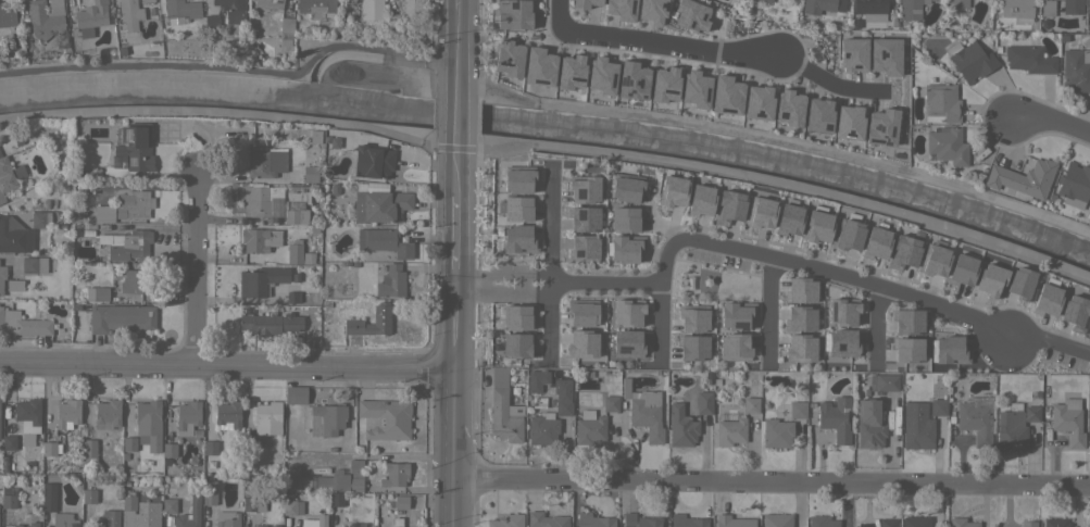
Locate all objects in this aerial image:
building: (147, 1)
building: (348, 1)
building: (767, 1)
building: (268, 3)
building: (582, 3)
building: (957, 3)
building: (817, 5)
building: (868, 5)
building: (1072, 7)
building: (315, 8)
building: (413, 8)
building: (1016, 8)
building: (1047, 8)
building: (1088, 8)
building: (619, 9)
building: (911, 9)
building: (180, 10)
building: (228, 10)
building: (371, 10)
building: (651, 11)
building: (129, 13)
building: (513, 14)
building: (690, 15)
building: (45, 17)
building: (90, 17)
building: (7, 21)
building: (392, 21)
building: (210, 22)
building: (286, 26)
road: (657, 43)
building: (852, 54)
building: (884, 55)
building: (506, 58)
building: (1029, 59)
building: (972, 61)
building: (537, 66)
building: (1076, 70)
building: (569, 72)
building: (600, 75)
road: (827, 79)
building: (630, 80)
building: (664, 84)
building: (694, 89)
building: (725, 95)
building: (941, 101)
building: (757, 102)
building: (787, 106)
road: (227, 113)
building: (817, 115)
building: (848, 122)
road: (1051, 122)
building: (880, 126)
rooftop solar panel: (126, 136)
road: (452, 141)
building: (947, 146)
building: (130, 152)
rooftop solar panel: (131, 160)
building: (373, 162)
building: (265, 163)
building: (310, 174)
building: (4, 177)
building: (1022, 178)
road: (776, 181)
building: (1074, 185)
building: (624, 188)
building: (671, 191)
rooftop solar panel: (580, 193)
building: (260, 199)
building: (699, 200)
building: (134, 204)
building: (296, 204)
building: (381, 205)
building: (727, 206)
building: (548, 211)
building: (103, 213)
rooftop solar panel: (582, 217)
building: (623, 218)
building: (40, 219)
building: (788, 219)
building: (817, 226)
building: (769, 229)
building: (849, 235)
building: (14, 236)
building: (701, 238)
building: (254, 240)
building: (383, 241)
building: (875, 242)
building: (126, 243)
building: (632, 249)
building: (293, 252)
building: (903, 252)
road: (762, 255)
rooftop solar panel: (579, 256)
building: (935, 261)
building: (33, 264)
road: (195, 269)
road: (551, 269)
building: (961, 269)
building: (2, 276)
building: (133, 280)
building: (260, 280)
building: (990, 280)
building: (391, 281)
building: (1020, 283)
road: (493, 284)
building: (15, 285)
building: (799, 290)
building: (97, 293)
building: (569, 296)
building: (292, 297)
building: (692, 297)
building: (1045, 300)
road: (768, 306)
building: (581, 312)
building: (841, 312)
building: (1075, 312)
building: (626, 313)
building: (735, 314)
building: (121, 317)
building: (515, 317)
road: (659, 317)
building: (380, 318)
building: (691, 318)
building: (799, 318)
road: (877, 318)
building: (906, 322)
building: (270, 323)
building: (23, 324)
building: (1089, 328)
road: (1048, 341)
building: (580, 343)
building: (629, 343)
building: (840, 343)
building: (515, 346)
building: (734, 347)
building: (691, 348)
building: (799, 348)
rooftop solar panel: (841, 350)
building: (906, 350)
building: (948, 350)
road: (226, 365)
building: (537, 379)
building: (884, 381)
building: (296, 394)
building: (562, 397)
building: (703, 402)
road: (452, 404)
building: (750, 405)
building: (938, 406)
building: (503, 409)
building: (27, 410)
building: (797, 410)
building: (643, 411)
building: (67, 412)
building: (107, 413)
building: (1031, 414)
building: (227, 415)
building: (187, 416)
building: (267, 418)
building: (386, 418)
building: (835, 418)
building: (977, 418)
building: (146, 419)
building: (326, 419)
building: (1068, 421)
building: (594, 422)
building: (869, 425)
building: (681, 426)
building: (916, 426)
building: (542, 428)
building: (1011, 429)
building: (730, 431)
building: (1089, 431)
building: (776, 432)
building: (9, 442)
building: (129, 443)
building: (250, 444)
building: (210, 447)
building: (49, 448)
building: (170, 449)
building: (88, 452)
building: (393, 474)
building: (342, 478)
road: (770, 482)
building: (88, 495)
building: (48, 497)
building: (209, 497)
building: (336, 499)
building: (8, 501)
building: (128, 501)
building: (399, 502)
building: (253, 503)
building: (168, 504)
building: (291, 507)
building: (21, 515)
building: (146, 515)
building: (111, 517)
building: (226, 518)
building: (546, 519)
building: (63, 520)
building: (506, 520)
building: (593, 520)
building: (640, 520)
building: (686, 520)
building: (776, 520)
building: (915, 520)
building: (98, 522)
building: (314, 522)
building: (732, 522)
building: (822, 522)
building: (887, 523)
building: (961, 523)
building: (1055, 523)
building: (1089, 523)
building: (33, 524)
building: (185, 524)
building: (1027, 524)
building: (16, 525)
building: (274, 525)
building: (355, 525)
building: (259, 526)
building: (397, 526)

